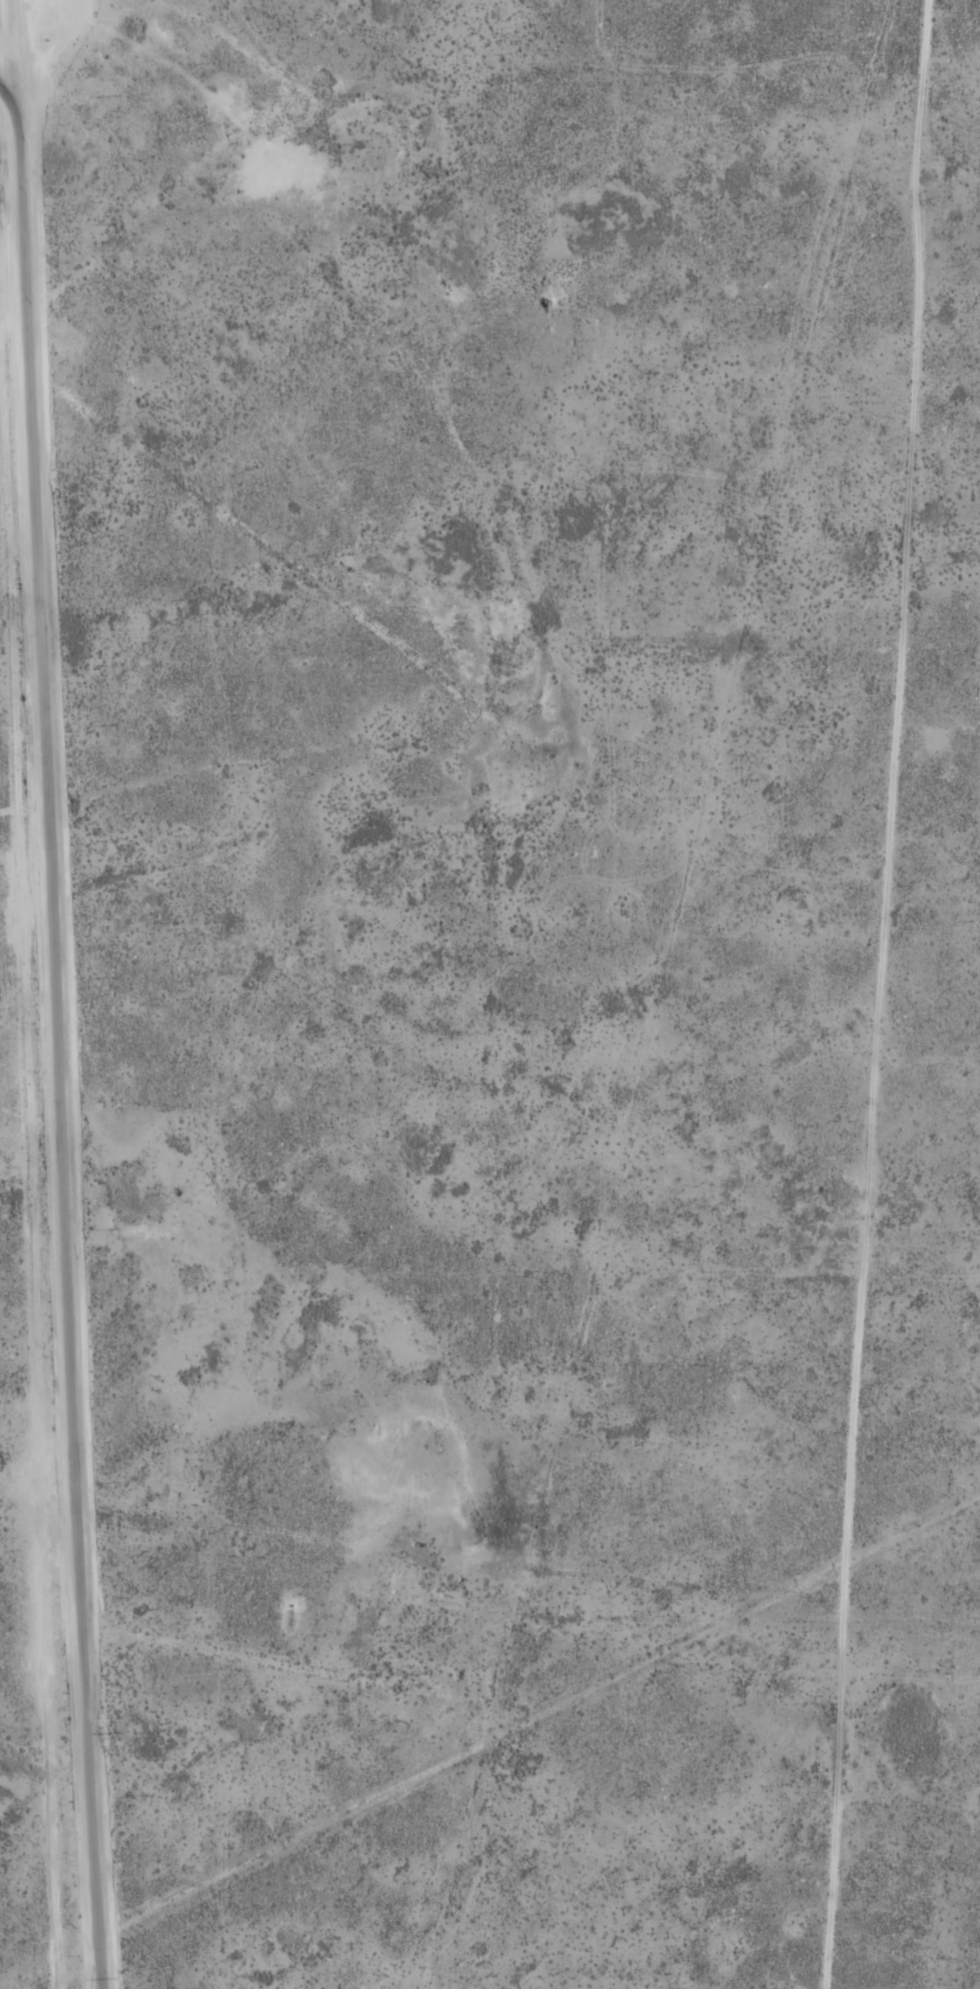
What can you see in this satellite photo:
road: (5, 49)
road: (3, 95)
road: (56, 1043)

